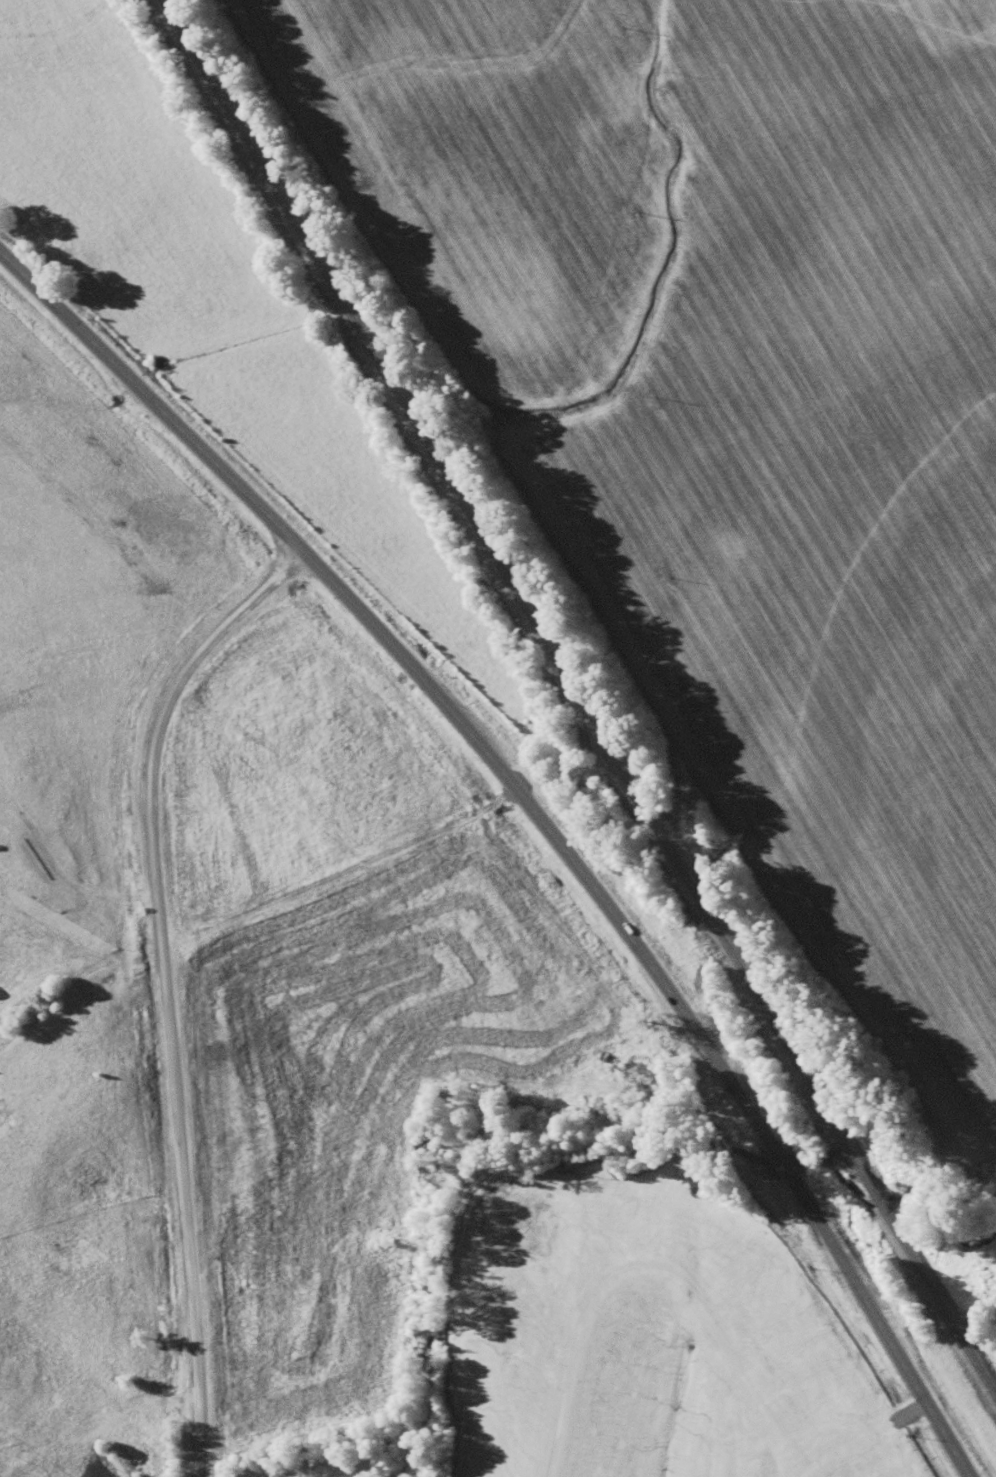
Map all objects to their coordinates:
railway: (509, 584)
road: (417, 677)
road: (164, 984)
road: (784, 1164)
railway: (872, 1192)
road: (658, 1269)
railway: (940, 1307)
road: (880, 1329)
road: (862, 1441)

